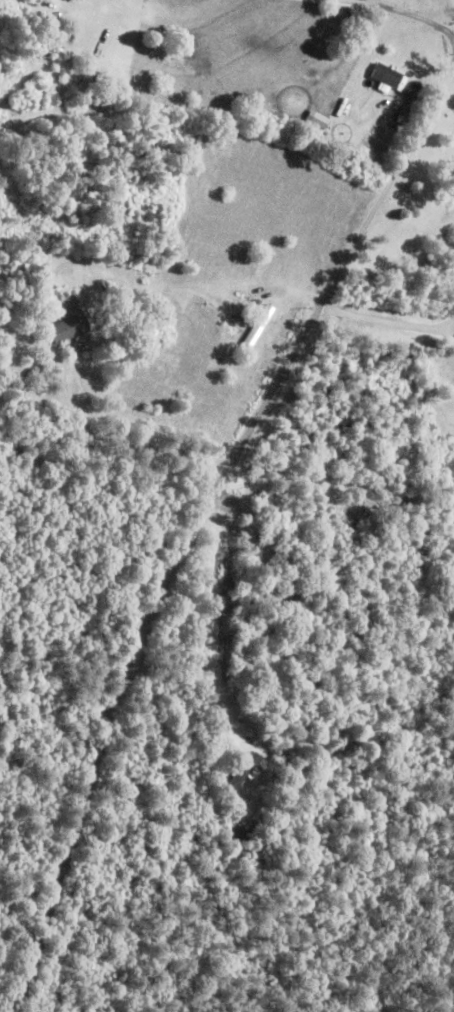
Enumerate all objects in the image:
road: (17, 89)
building: (70, 325)

